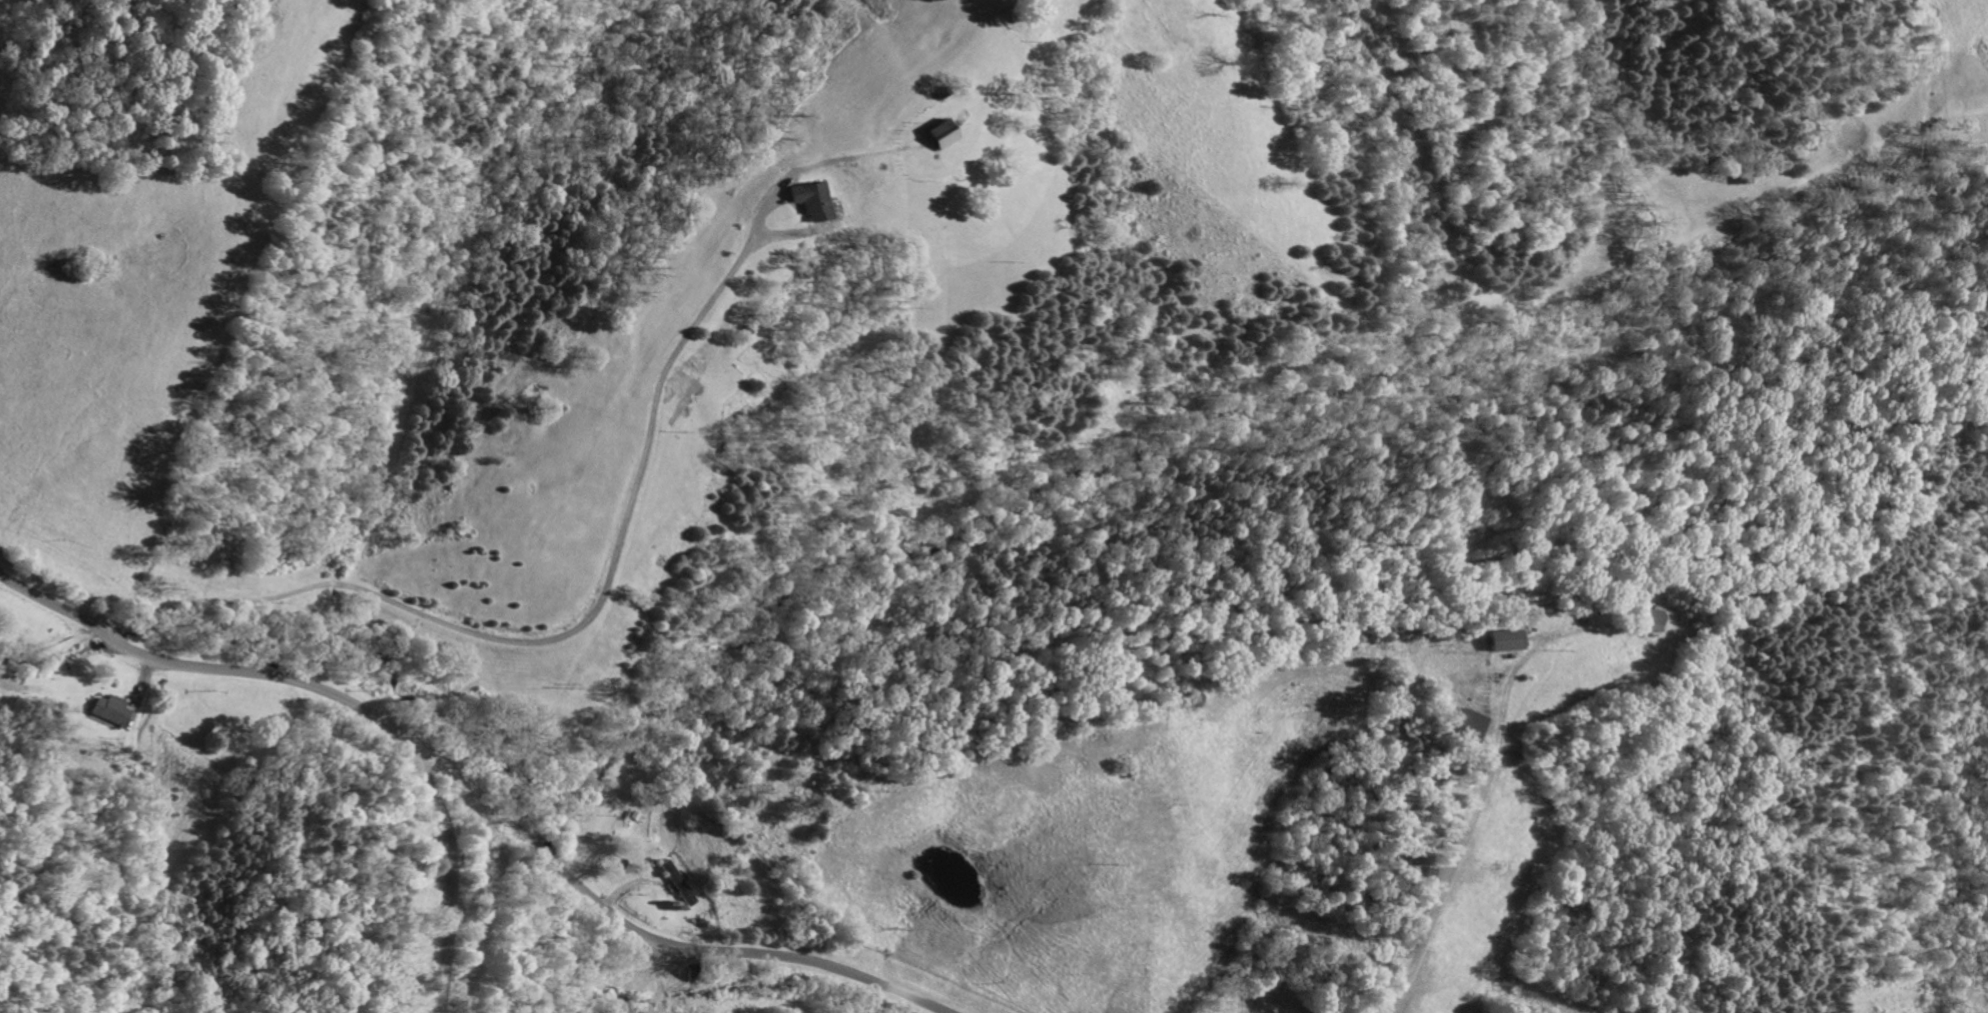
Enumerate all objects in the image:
road: (1014, 12)
building: (942, 134)
building: (1741, 180)
building: (814, 200)
building: (678, 388)
building: (1649, 627)
road: (539, 638)
building: (1504, 642)
building: (111, 709)
building: (1467, 725)
road: (476, 793)
road: (1478, 793)
road: (443, 879)
building: (677, 883)
road: (656, 976)

